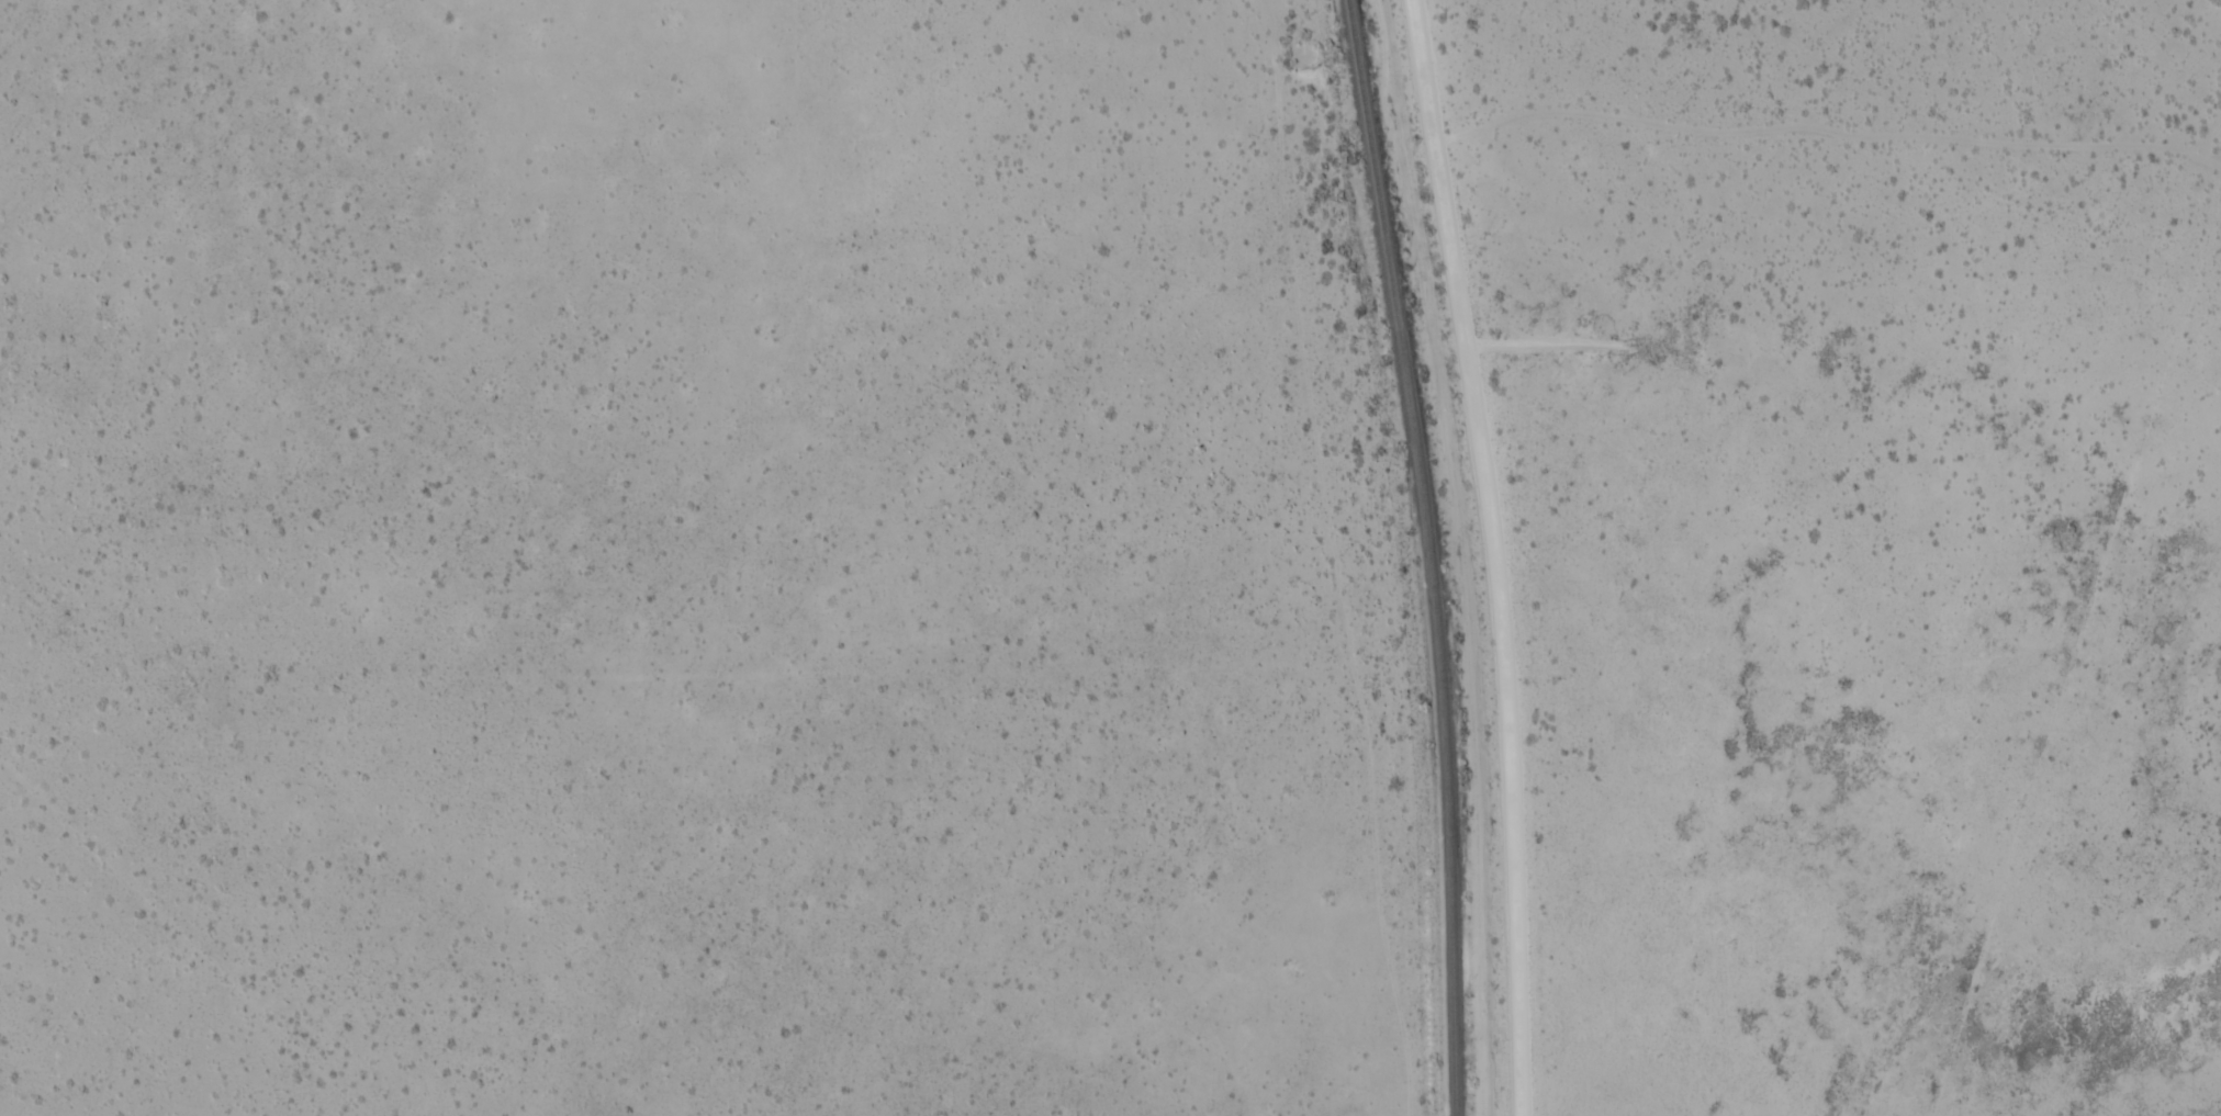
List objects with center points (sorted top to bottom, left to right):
railway: (1429, 555)
road: (1492, 555)
road: (114, 1011)

